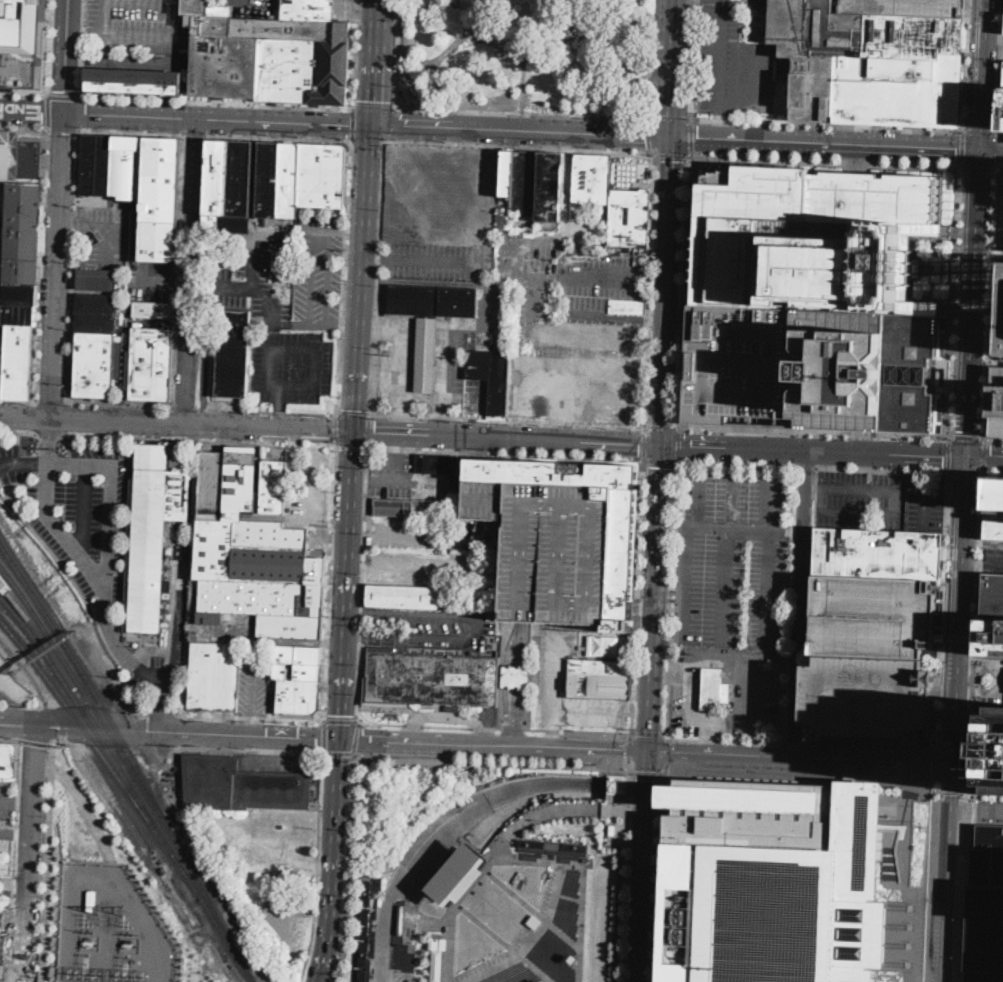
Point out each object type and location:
building: (906, 7)
parking lot: (906, 7)
parking lot: (136, 24)
building: (816, 28)
road: (87, 36)
building: (915, 36)
road: (176, 40)
building: (23, 42)
parking garage: (23, 42)
road: (455, 44)
road: (49, 47)
road: (81, 48)
road: (525, 49)
road: (595, 50)
road: (354, 52)
building: (271, 53)
road: (397, 53)
park: (531, 54)
road: (67, 56)
road: (652, 56)
road: (721, 56)
road: (78, 59)
road: (695, 59)
parking lot: (735, 59)
road: (137, 62)
road: (371, 62)
road: (45, 66)
road: (966, 66)
road: (677, 69)
road: (984, 75)
road: (1000, 77)
building: (134, 81)
road: (522, 81)
road: (432, 85)
building: (813, 88)
building: (897, 90)
road: (755, 91)
road: (23, 93)
road: (64, 95)
road: (621, 97)
traffic signals: (370, 100)
road: (217, 102)
road: (375, 106)
road: (32, 112)
road: (47, 112)
road: (522, 112)
building: (1002, 112)
road: (81, 113)
road: (670, 116)
road: (217, 118)
traffic signals: (347, 124)
road: (352, 124)
road: (390, 125)
road: (828, 125)
traffic signals: (982, 125)
road: (23, 127)
road: (721, 127)
traffic signals: (399, 128)
road: (63, 129)
road: (132, 132)
road: (521, 132)
road: (981, 132)
road: (651, 133)
road: (195, 134)
road: (1000, 134)
road: (693, 137)
road: (22, 138)
traffic signals: (646, 138)
road: (279, 139)
traffic signals: (698, 140)
road: (368, 143)
road: (827, 145)
road: (520, 147)
road: (964, 150)
traffic signals: (956, 151)
road: (1000, 151)
road: (992, 152)
road: (674, 154)
building: (3, 156)
building: (409, 159)
traffic signals: (673, 160)
road: (828, 162)
building: (88, 163)
building: (104, 163)
road: (980, 170)
road: (1001, 170)
building: (507, 174)
building: (323, 175)
building: (218, 177)
building: (240, 177)
building: (268, 179)
building: (592, 179)
building: (289, 180)
building: (526, 183)
building: (254, 185)
building: (150, 188)
building: (550, 191)
building: (630, 218)
building: (227, 221)
building: (267, 221)
road: (322, 229)
road: (347, 231)
building: (22, 233)
parking lot: (104, 234)
building: (811, 239)
road: (564, 241)
road: (999, 253)
road: (419, 260)
parking lot: (437, 262)
road: (40, 265)
road: (58, 265)
road: (74, 267)
road: (252, 268)
road: (190, 270)
road: (178, 271)
parking lot: (319, 271)
road: (311, 276)
road: (328, 277)
building: (96, 278)
road: (343, 278)
road: (362, 278)
road: (376, 279)
parking lot: (153, 280)
parking lot: (568, 280)
parking lot: (250, 281)
road: (650, 289)
road: (667, 291)
road: (686, 291)
building: (19, 293)
road: (265, 300)
building: (97, 302)
road: (956, 302)
road: (974, 304)
road: (992, 304)
building: (628, 307)
road: (974, 307)
building: (153, 310)
building: (18, 314)
road: (581, 315)
building: (96, 321)
building: (430, 321)
road: (317, 324)
road: (342, 326)
road: (305, 346)
building: (1002, 347)
road: (205, 352)
building: (233, 353)
parking lot: (395, 360)
building: (19, 361)
road: (995, 361)
building: (94, 363)
building: (150, 363)
parking lot: (292, 366)
building: (810, 368)
parking lot: (450, 372)
building: (491, 376)
building: (943, 376)
road: (280, 399)
road: (17, 402)
road: (51, 403)
building: (996, 403)
road: (120, 406)
road: (185, 409)
traffic signals: (357, 409)
road: (267, 412)
road: (353, 414)
road: (26, 416)
road: (65, 419)
road: (507, 421)
road: (203, 423)
road: (662, 425)
traffic signals: (331, 429)
road: (336, 430)
traffic signals: (969, 430)
road: (368, 431)
traffic signals: (375, 431)
road: (815, 431)
road: (19, 434)
road: (44, 435)
road: (508, 437)
road: (968, 438)
road: (994, 439)
road: (200, 441)
road: (645, 442)
traffic signals: (639, 443)
road: (679, 445)
traffic signals: (685, 445)
road: (351, 447)
road: (478, 447)
road: (814, 450)
road: (505, 453)
road: (949, 454)
traffic signals: (943, 456)
road: (984, 457)
road: (133, 458)
road: (984, 458)
traffic signals: (991, 458)
road: (661, 461)
road: (737, 463)
building: (437, 464)
traffic signals: (660, 466)
road: (806, 467)
road: (883, 469)
road: (110, 471)
road: (992, 473)
road: (966, 475)
building: (937, 478)
parking lot: (406, 479)
building: (274, 486)
parking lot: (311, 490)
road: (192, 492)
parking lot: (735, 494)
parking lot: (861, 500)
parking lot: (925, 504)
building: (417, 509)
parking lot: (79, 510)
road: (85, 510)
building: (994, 511)
road: (181, 523)
road: (732, 527)
road: (641, 530)
building: (151, 533)
road: (171, 533)
road: (357, 535)
road: (420, 537)
road: (180, 543)
building: (624, 546)
road: (962, 546)
building: (552, 549)
parking lot: (552, 549)
parking lot: (432, 552)
building: (876, 552)
building: (253, 556)
road: (84, 558)
road: (356, 565)
road: (420, 569)
road: (330, 583)
road: (361, 583)
parking lot: (731, 583)
road: (349, 585)
railway: (10, 586)
building: (404, 596)
road: (654, 598)
road: (675, 599)
road: (802, 603)
road: (172, 604)
road: (788, 604)
road: (632, 606)
road: (98, 607)
road: (637, 607)
road: (943, 612)
road: (354, 613)
building: (992, 614)
parking lot: (442, 616)
building: (869, 616)
parking lot: (869, 616)
road: (976, 618)
road: (125, 625)
road: (178, 625)
road: (478, 629)
road: (353, 633)
road: (959, 636)
parking lot: (423, 638)
building: (603, 645)
road: (53, 651)
road: (146, 654)
building: (600, 664)
road: (634, 674)
building: (517, 675)
building: (214, 676)
parking lot: (554, 676)
road: (988, 676)
building: (431, 678)
building: (297, 679)
road: (520, 684)
building: (599, 684)
parking lot: (254, 686)
railway: (93, 688)
building: (714, 690)
parking lot: (728, 691)
building: (866, 697)
parking garage: (866, 697)
road: (18, 699)
road: (956, 699)
railway: (90, 701)
road: (161, 705)
road: (555, 709)
road: (162, 713)
road: (637, 713)
traffic signals: (343, 714)
road: (446, 714)
road: (251, 717)
road: (342, 720)
road: (800, 720)
road: (1, 721)
road: (381, 723)
road: (941, 724)
road: (412, 725)
road: (446, 726)
road: (483, 727)
road: (498, 727)
road: (513, 728)
road: (171, 730)
road: (554, 730)
road: (578, 731)
road: (324, 735)
road: (355, 736)
road: (649, 737)
road: (9, 738)
traffic signals: (317, 738)
road: (20, 740)
traffic signals: (364, 740)
road: (724, 740)
road: (34, 741)
traffic signals: (955, 741)
railway: (103, 743)
road: (793, 743)
road: (494, 745)
road: (940, 745)
road: (630, 746)
road: (871, 746)
road: (953, 747)
building: (989, 748)
road: (250, 750)
traffic signals: (626, 750)
road: (668, 750)
traffic signals: (673, 751)
road: (966, 751)
road: (338, 752)
railway: (103, 755)
road: (800, 756)
road: (493, 760)
building: (8, 761)
traffic signals: (933, 761)
road: (938, 762)
road: (645, 771)
road: (969, 772)
road: (795, 777)
road: (963, 777)
traffic signals: (646, 778)
building: (242, 785)
road: (936, 792)
road: (950, 792)
road: (964, 792)
road: (967, 797)
road: (85, 802)
road: (977, 807)
road: (614, 808)
road: (538, 816)
road: (78, 822)
road: (441, 831)
road: (15, 833)
building: (553, 844)
road: (552, 849)
road: (552, 850)
road: (30, 852)
road: (522, 854)
road: (559, 856)
road: (551, 857)
road: (47, 860)
road: (14, 861)
road: (334, 861)
road: (642, 866)
road: (317, 867)
road: (351, 867)
road: (625, 869)
road: (949, 871)
road: (662, 872)
building: (460, 873)
road: (928, 878)
road: (502, 883)
building: (775, 883)
building: (367, 892)
road: (963, 894)
road: (570, 896)
parking lot: (985, 899)
building: (92, 900)
building: (985, 905)
road: (460, 907)
power tower: (111, 909)
railway: (216, 911)
building: (401, 912)
road: (583, 913)
building: (534, 920)
building: (365, 922)
power substation: (112, 928)
road: (534, 938)
railway: (228, 939)
building: (3, 945)
building: (399, 946)
building: (364, 952)
building: (573, 958)
building: (437, 960)
building: (216, 962)
road: (536, 968)
building: (399, 971)
building: (363, 975)
building: (543, 981)

